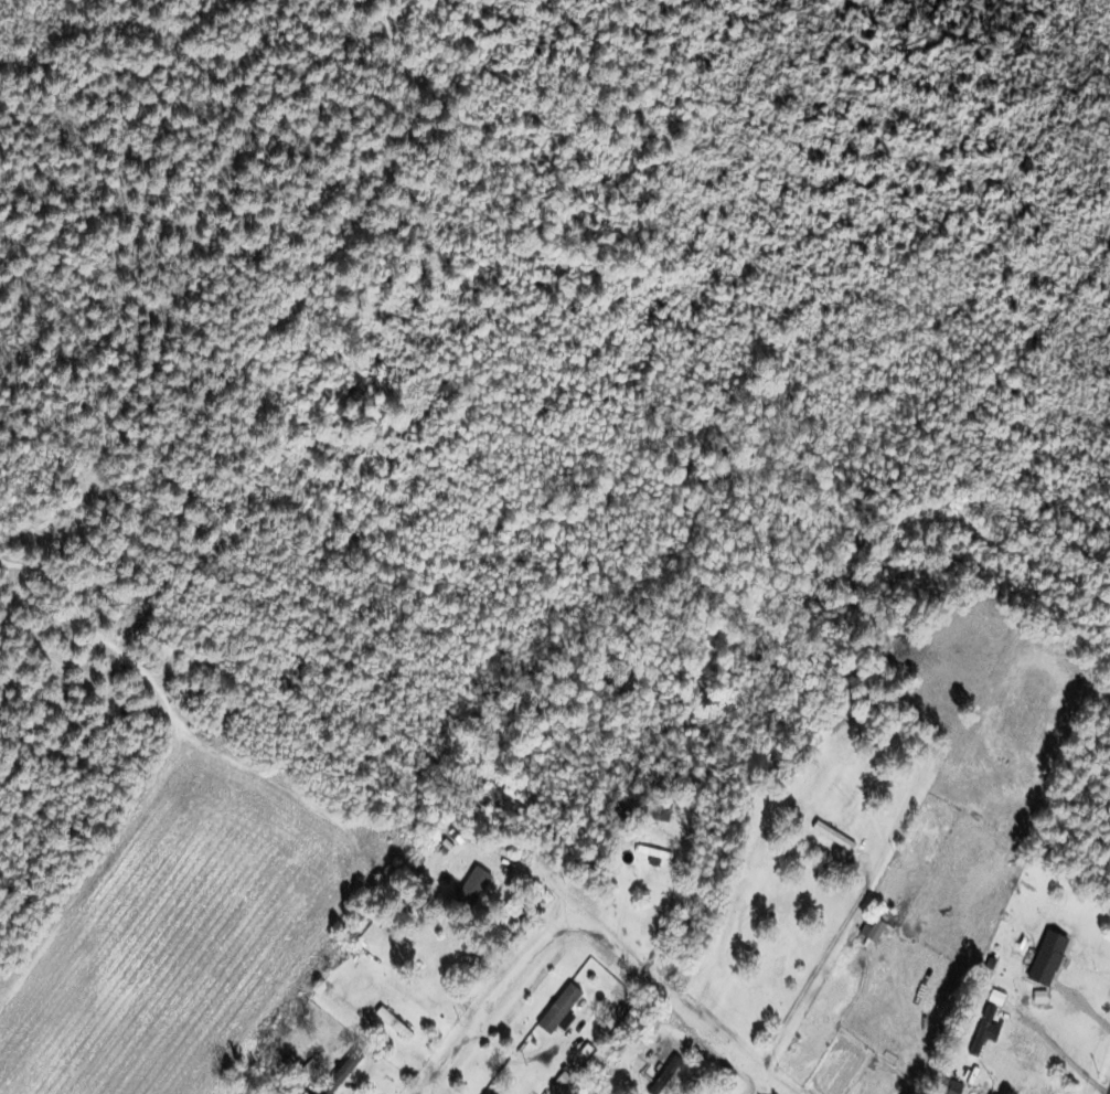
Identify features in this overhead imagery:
building: (648, 810)
building: (446, 838)
building: (829, 838)
building: (647, 853)
building: (465, 883)
road: (590, 931)
building: (872, 933)
building: (1043, 960)
building: (555, 1009)
building: (980, 1033)
building: (305, 1072)
building: (340, 1074)
building: (658, 1083)
building: (944, 1086)
road: (765, 1087)

